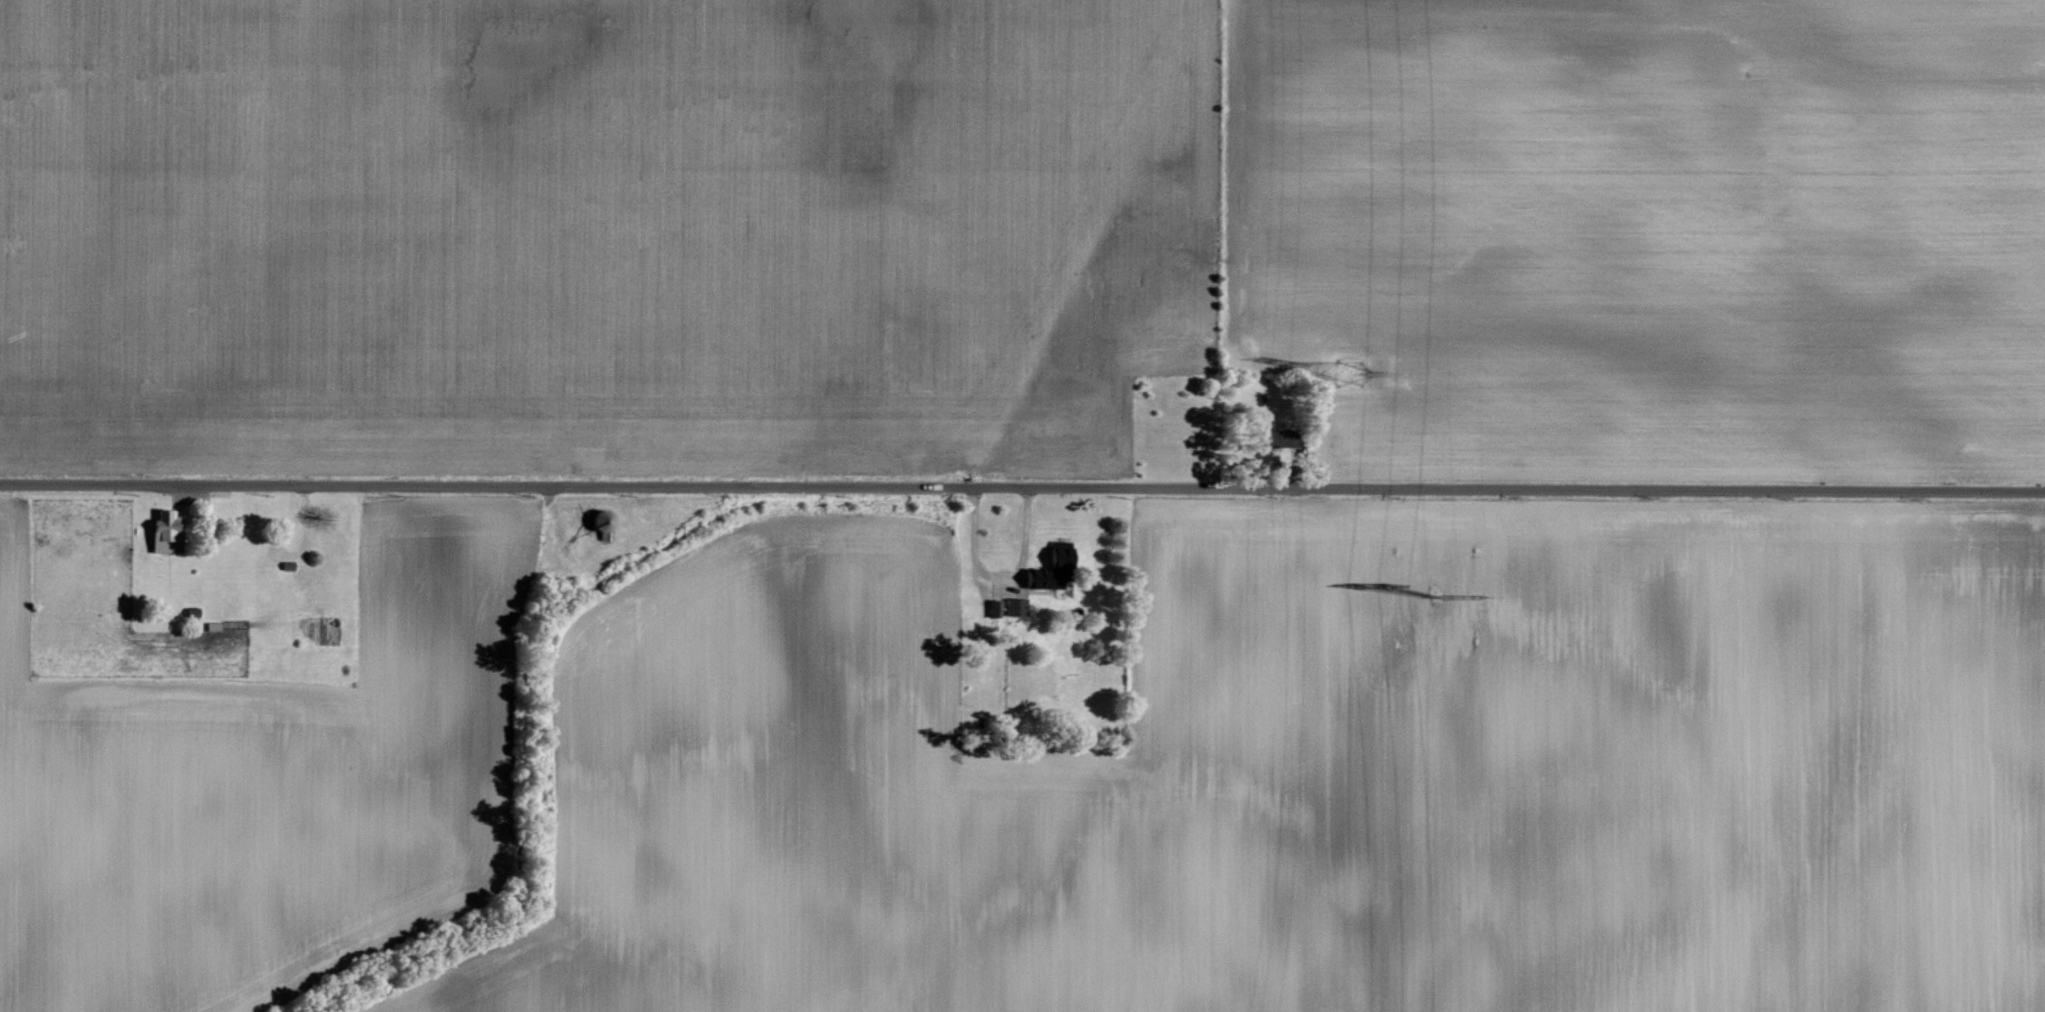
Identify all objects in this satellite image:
power tower: (1350, 372)
building: (1284, 435)
road: (1293, 474)
road: (1022, 485)
silo: (605, 517)
road: (1023, 541)
road: (972, 547)
building: (1051, 567)
power tower: (1434, 595)
building: (1016, 604)
building: (995, 606)

